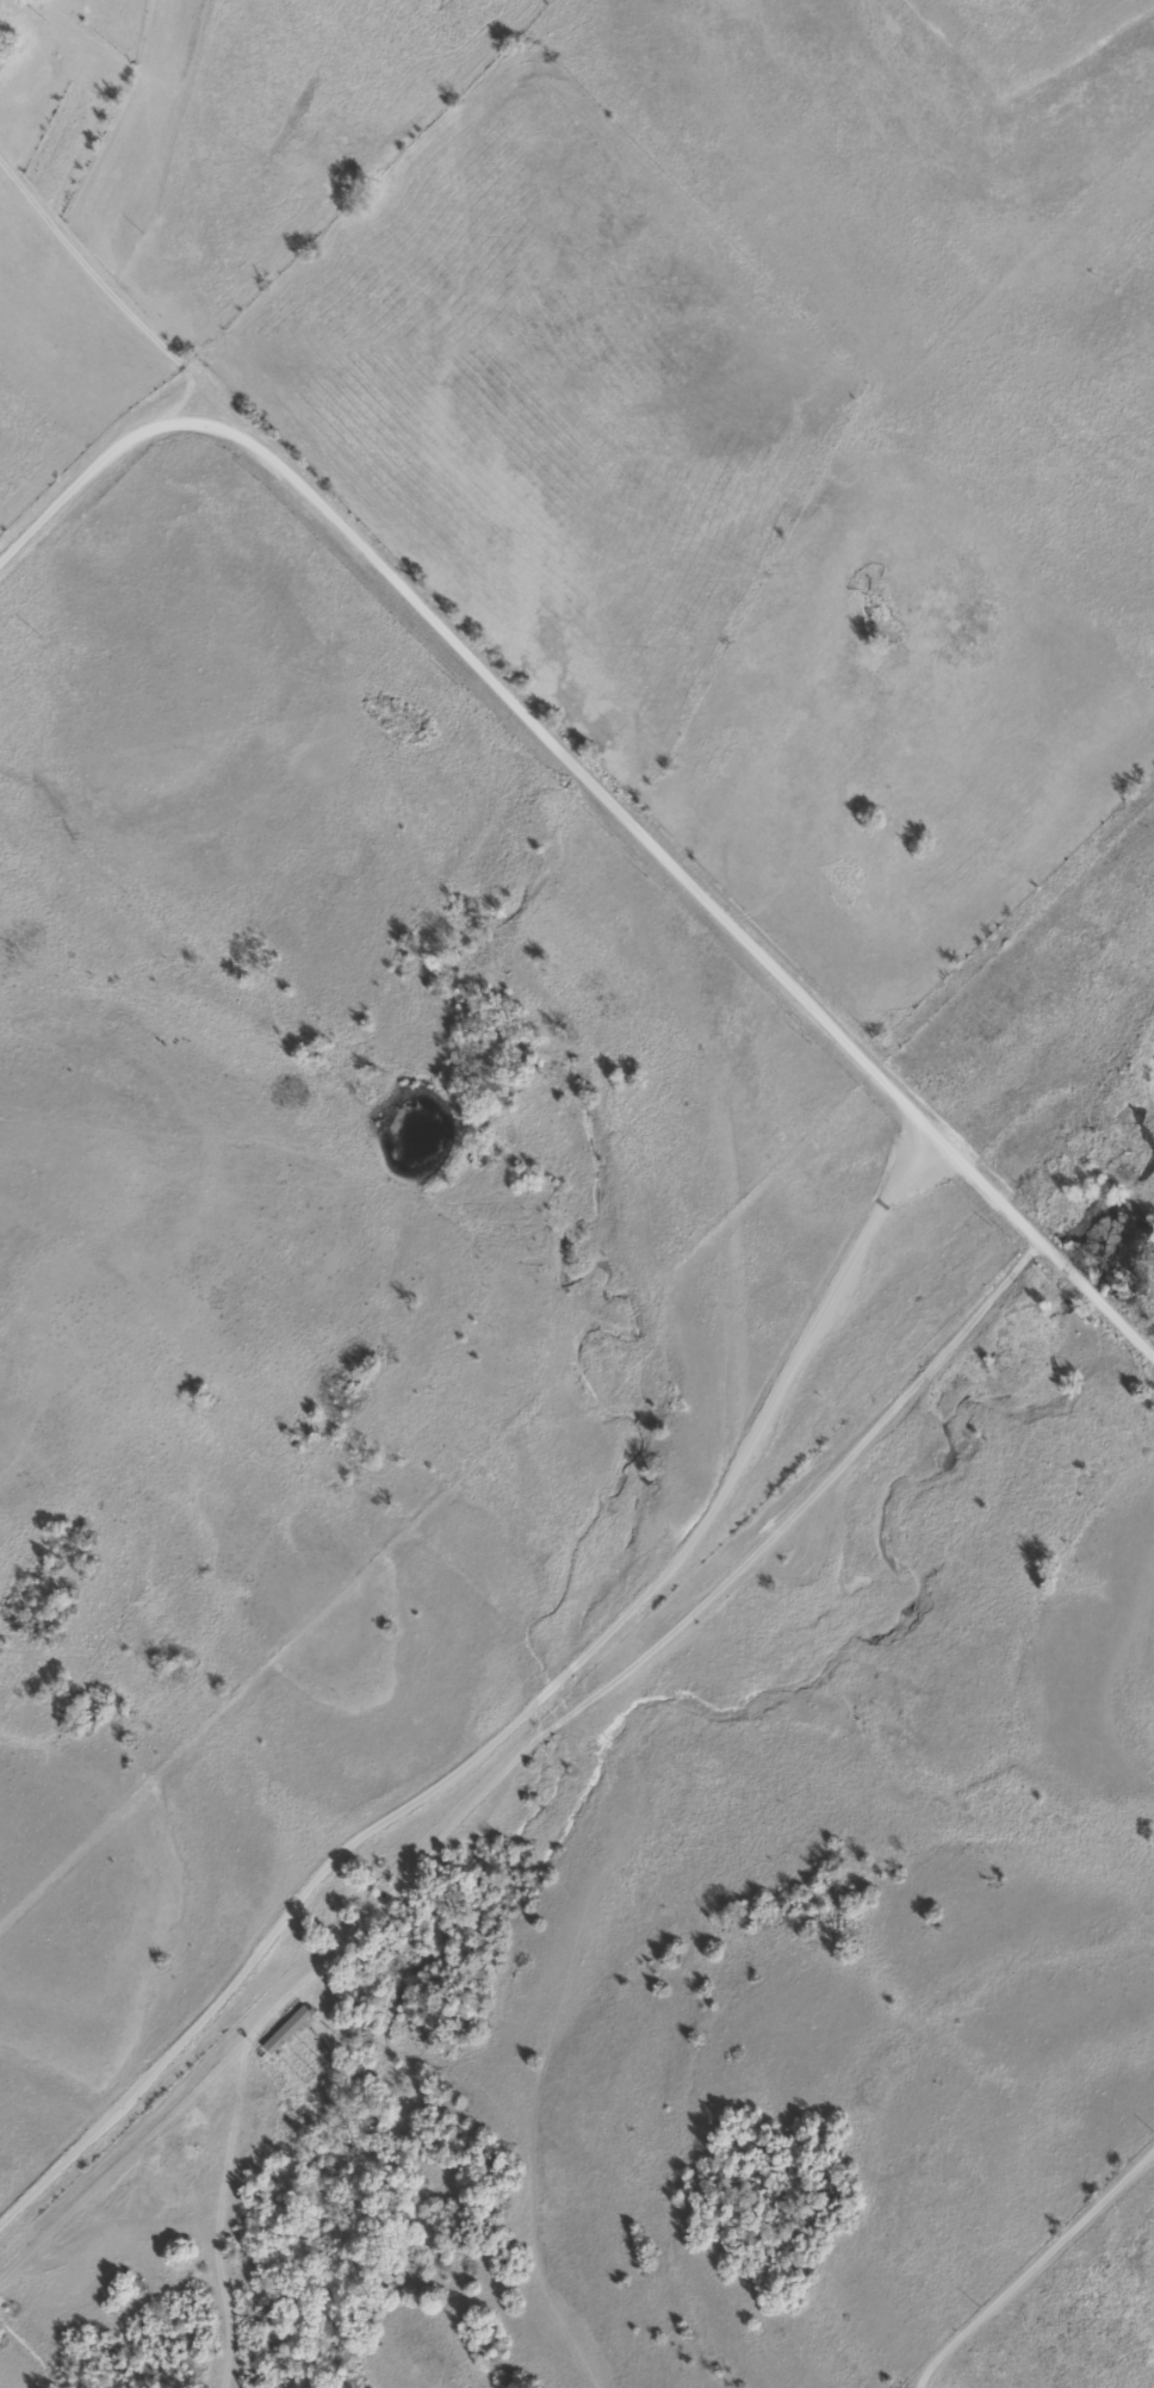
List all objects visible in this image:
road: (110, 261)
road: (594, 743)
road: (542, 1767)
building: (281, 2030)
road: (1036, 2270)

